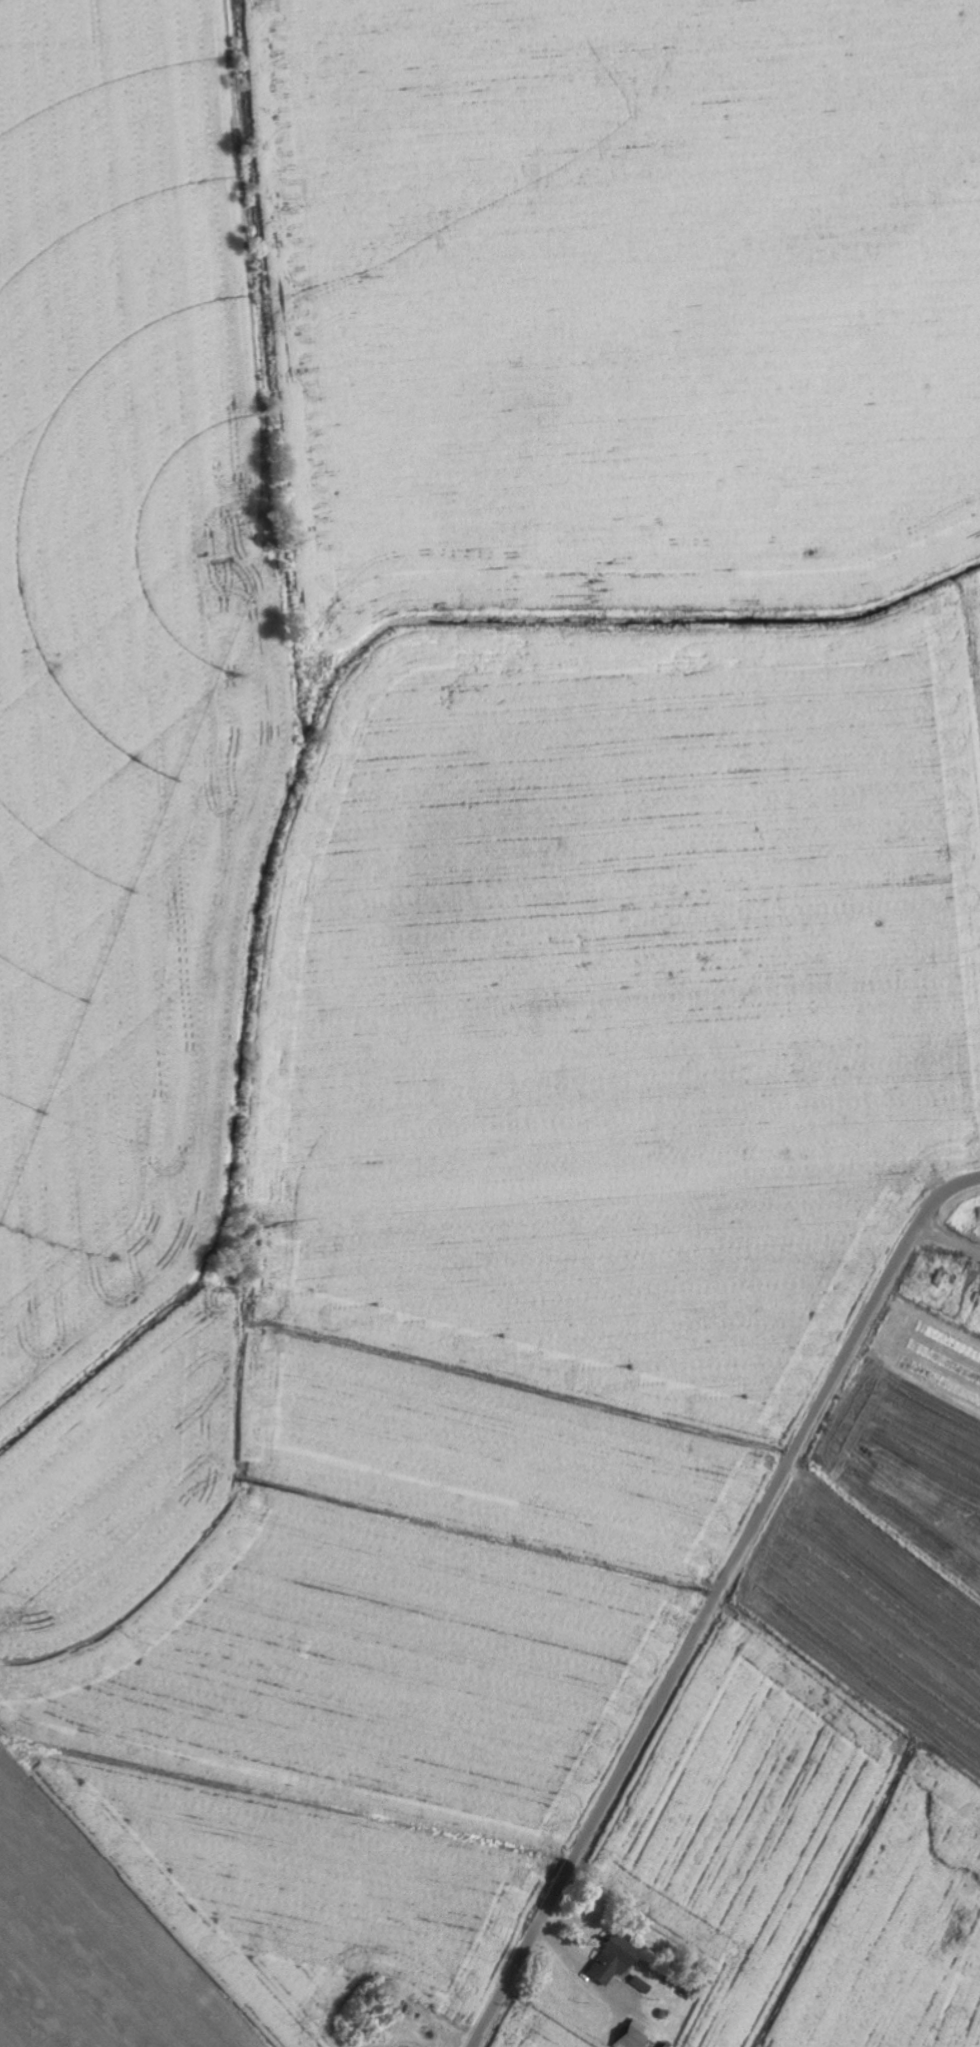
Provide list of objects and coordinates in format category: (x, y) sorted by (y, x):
road: (951, 1235)
road: (713, 1600)
building: (617, 1960)
building: (633, 2039)

